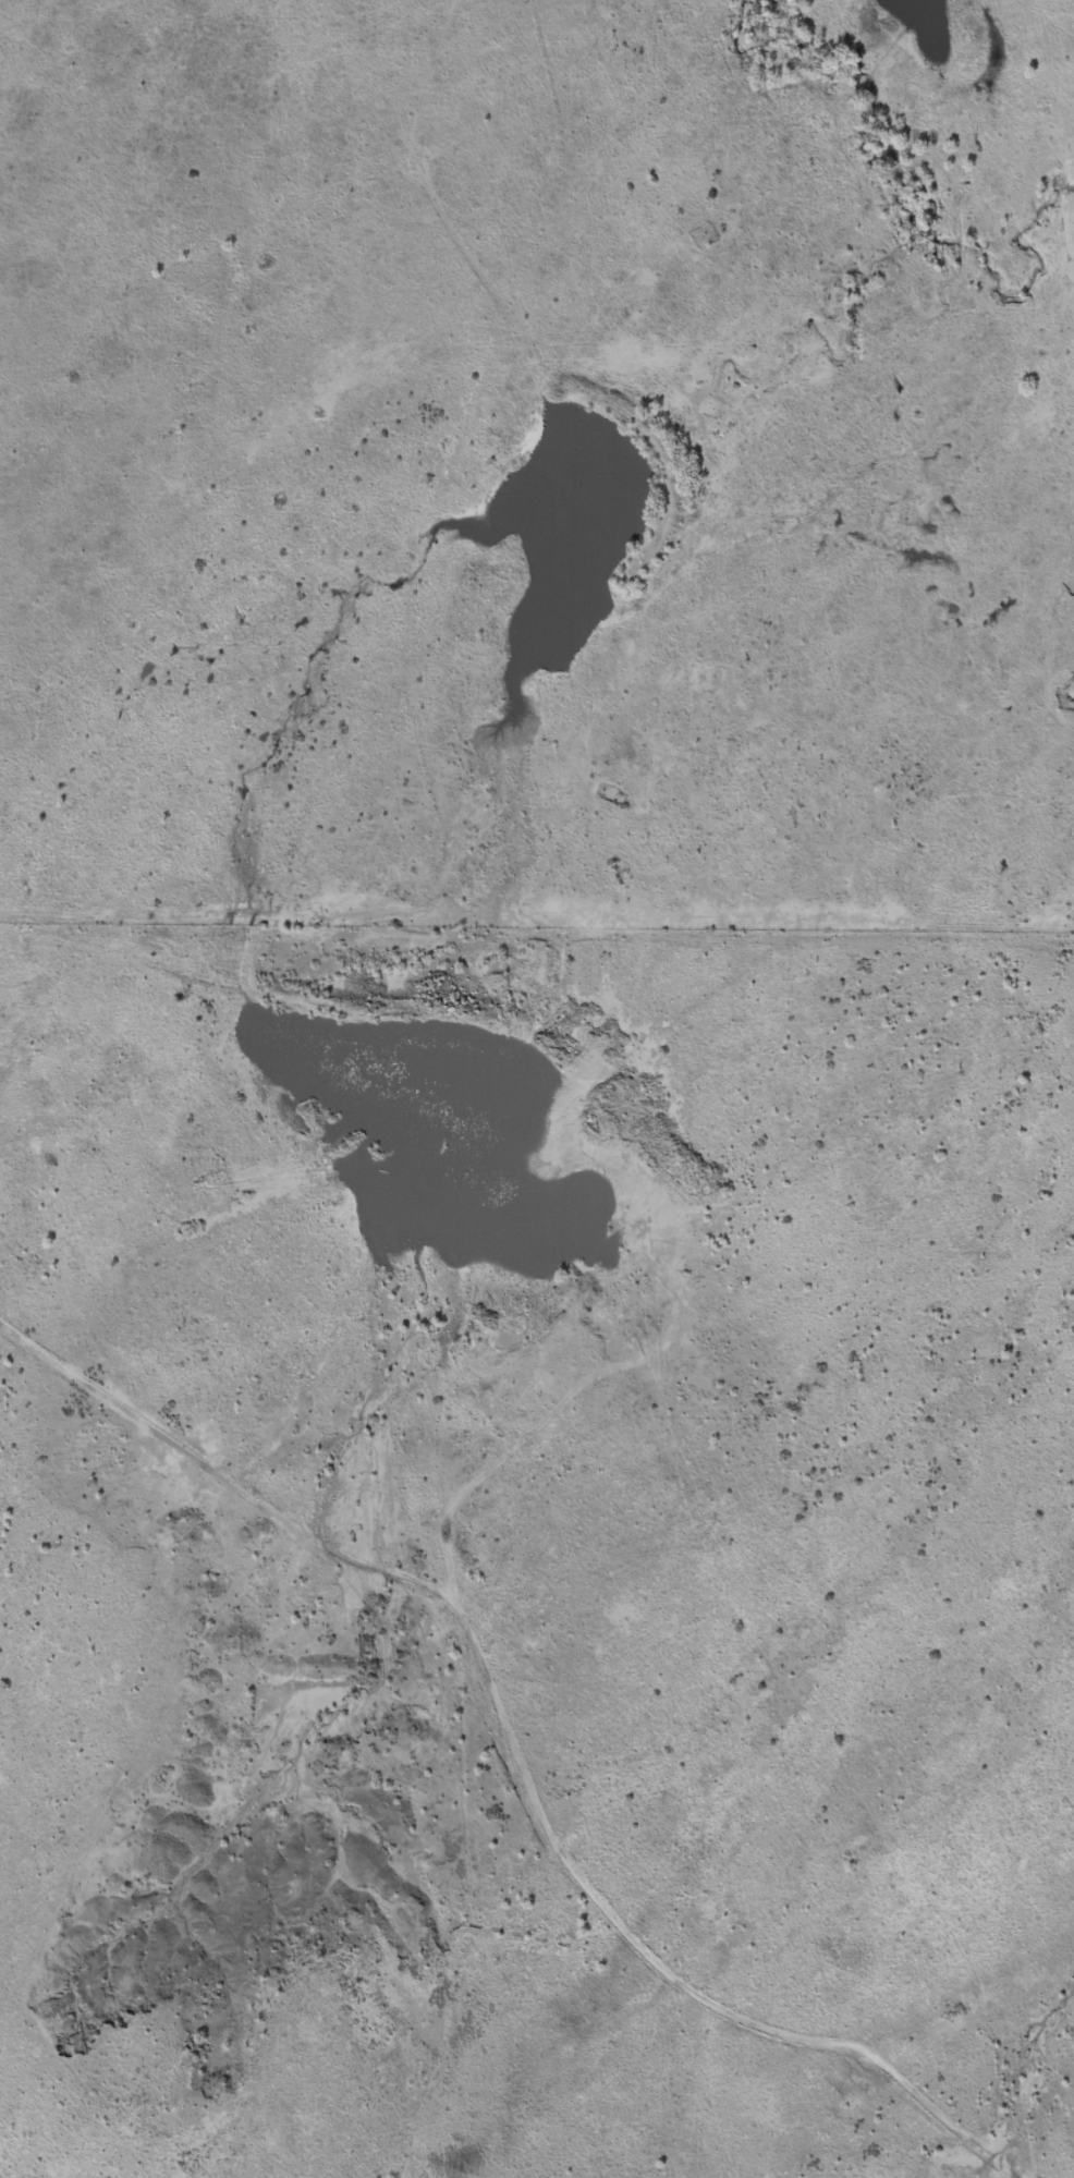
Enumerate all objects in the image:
road: (657, 1900)

